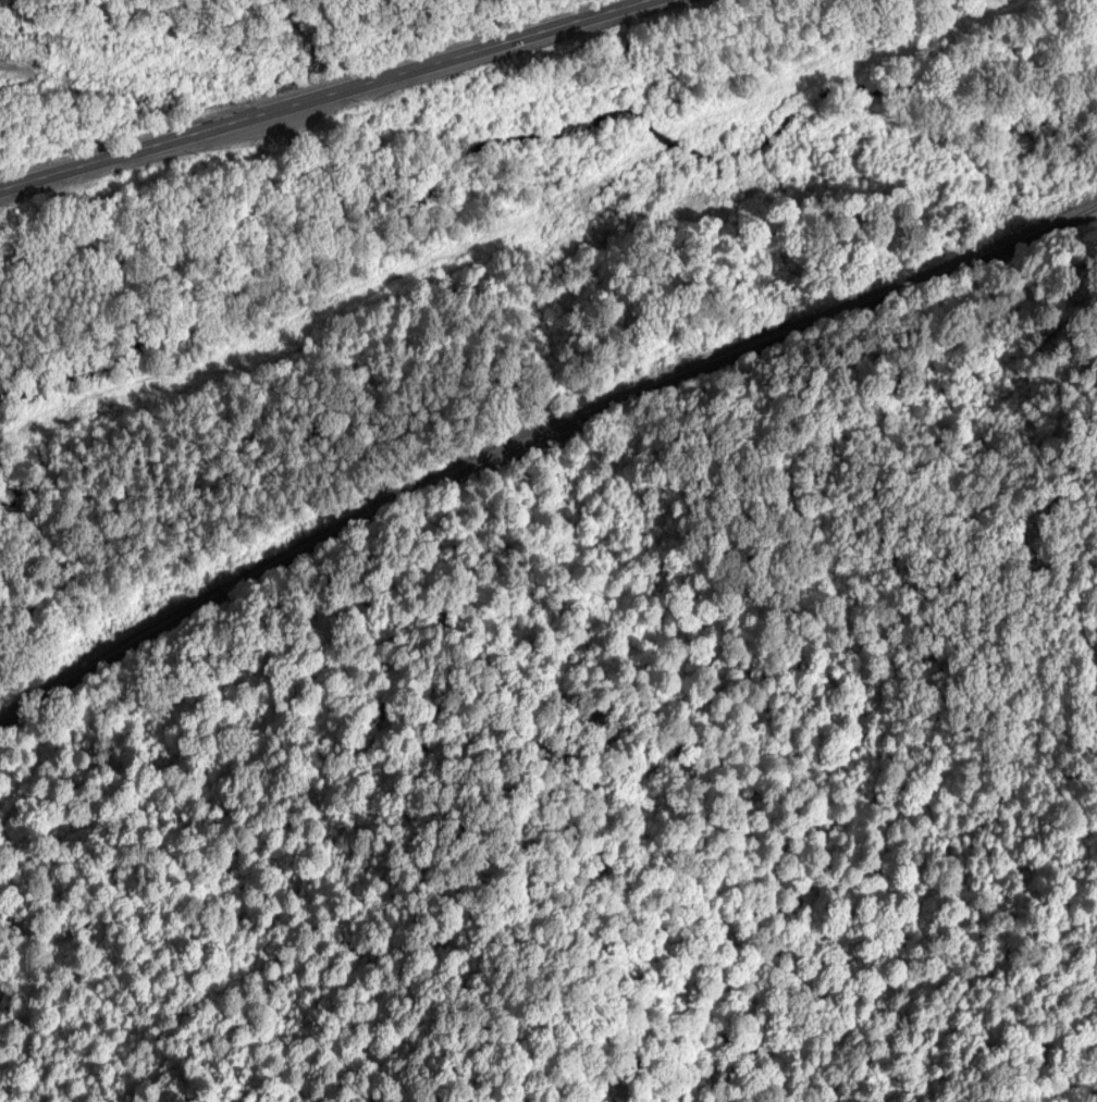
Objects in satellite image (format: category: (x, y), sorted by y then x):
road: (329, 97)
railway: (538, 437)

